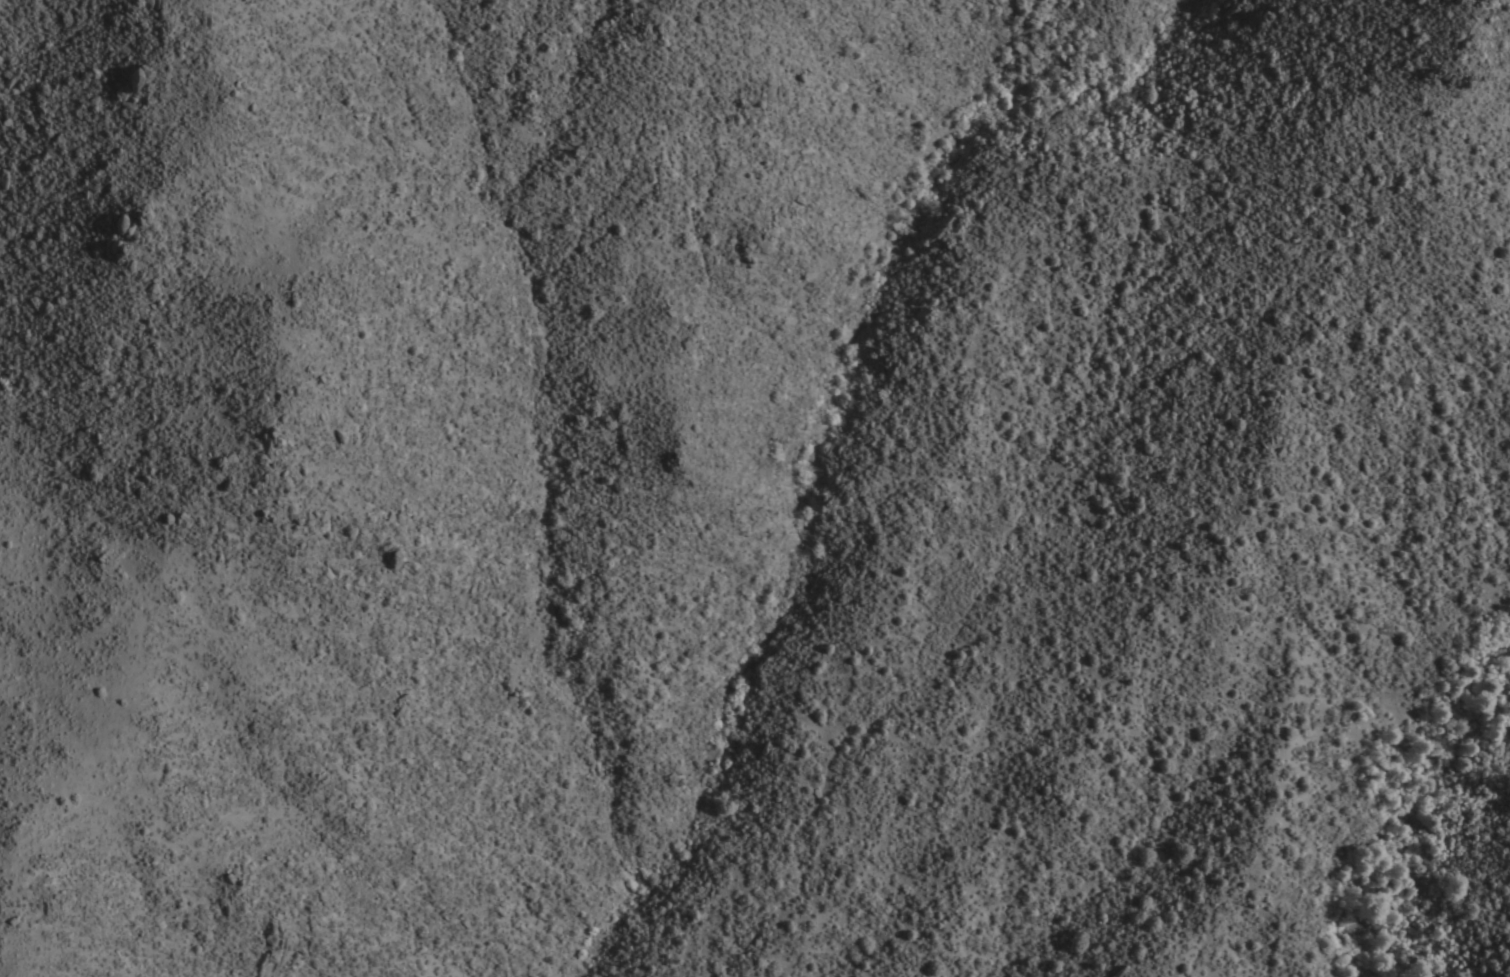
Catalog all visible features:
road: (1412, 795)

